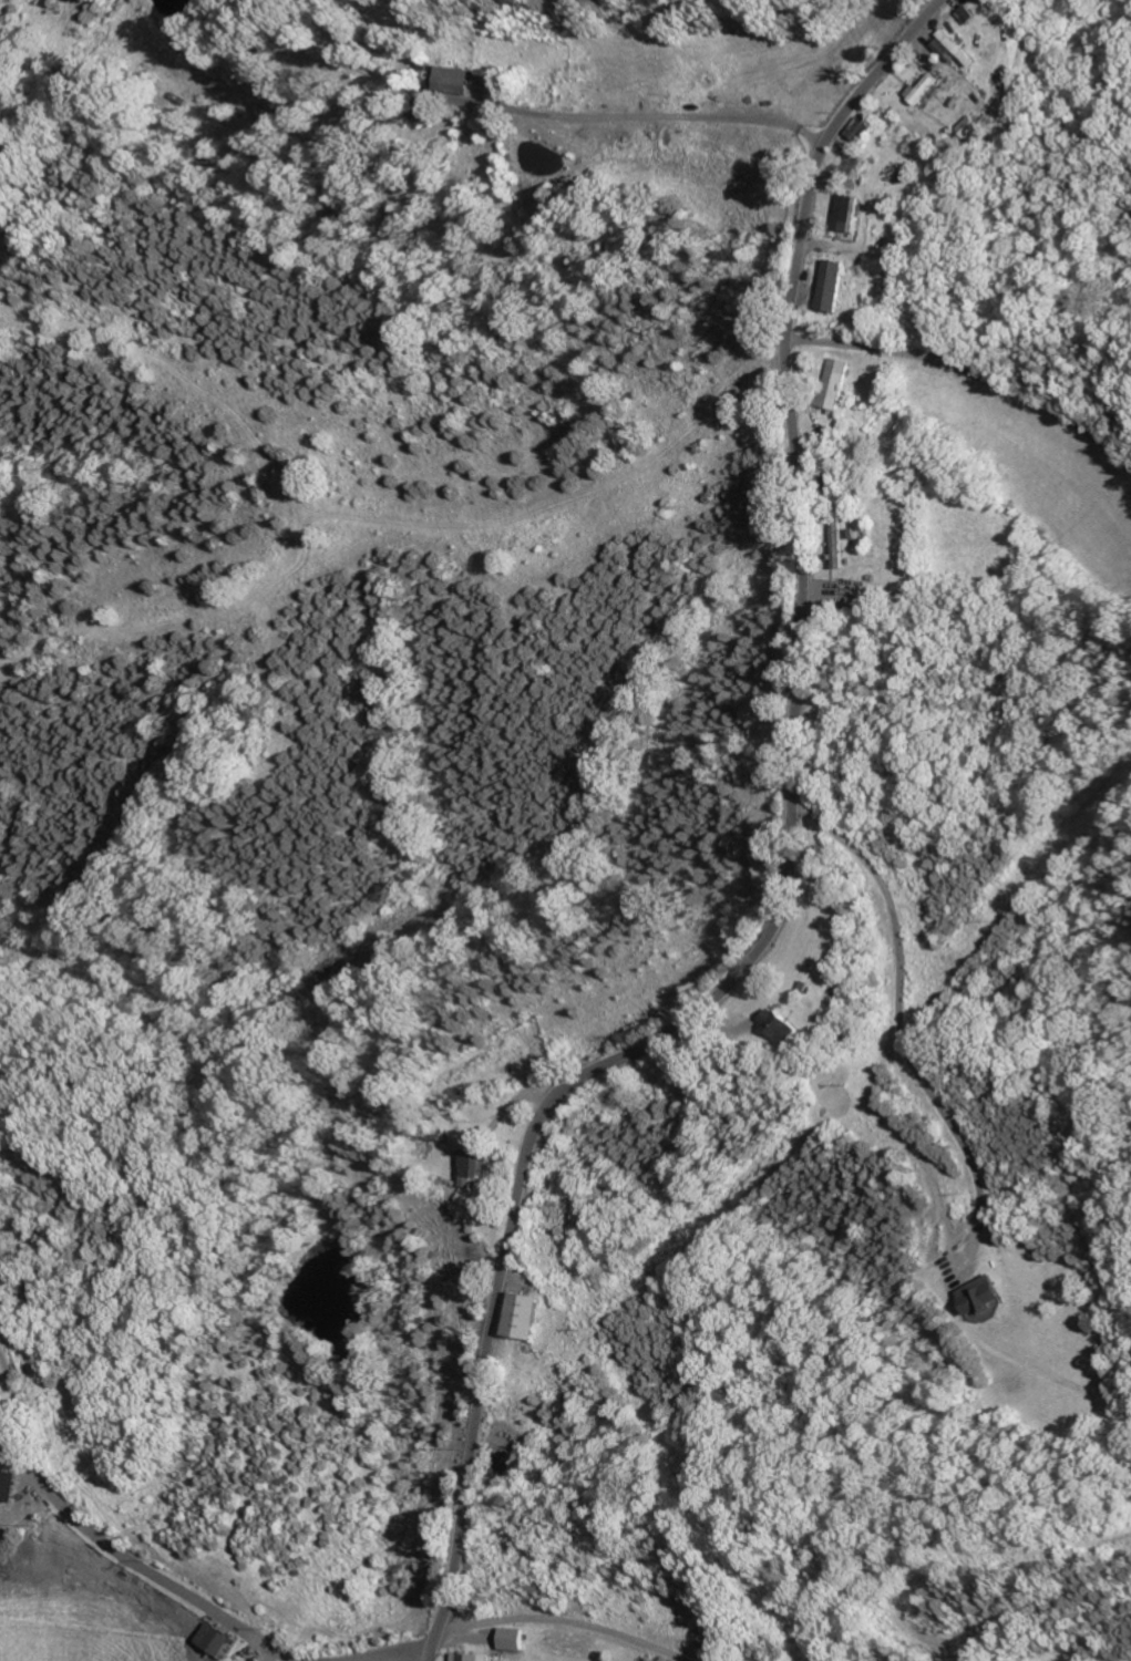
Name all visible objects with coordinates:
building: (968, 48)
building: (460, 81)
building: (934, 91)
road: (646, 118)
building: (857, 209)
building: (844, 282)
road: (970, 371)
road: (790, 871)
road: (904, 1014)
building: (790, 1025)
building: (474, 1159)
building: (986, 1294)
building: (529, 1316)
building: (11, 1486)
road: (136, 1566)
road: (565, 1620)
building: (515, 1639)
building: (218, 1641)
road: (402, 1655)
building: (475, 1657)
building: (261, 1659)

